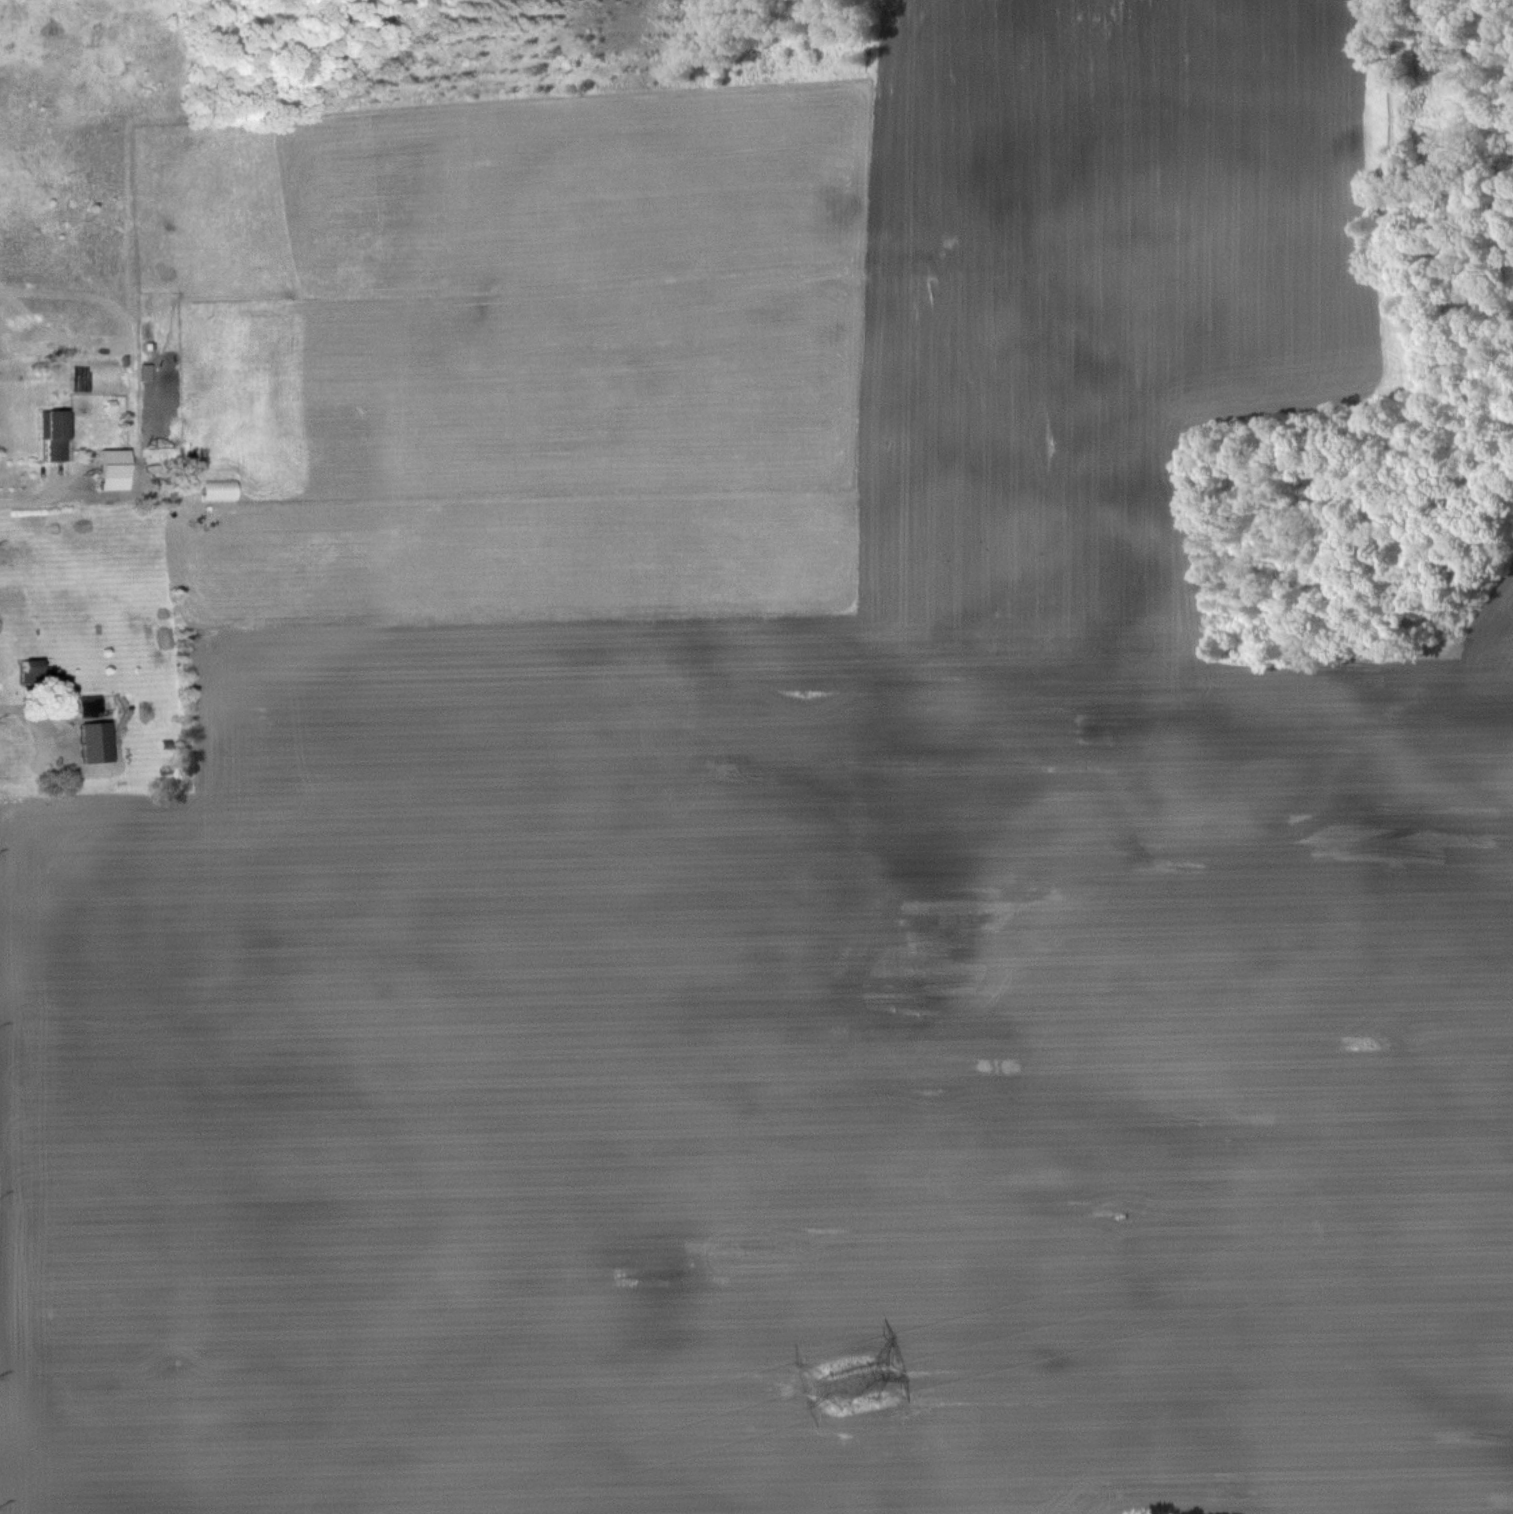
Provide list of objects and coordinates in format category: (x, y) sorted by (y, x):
building: (53, 437)
building: (111, 465)
road: (45, 502)
building: (35, 674)
building: (89, 707)
power tower: (865, 1366)

